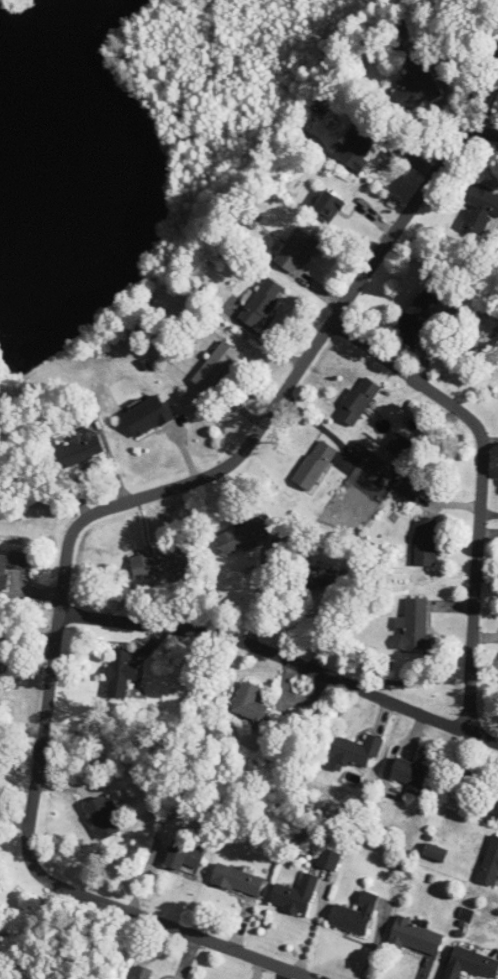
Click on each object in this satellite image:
building: (413, 89)
building: (360, 143)
building: (329, 205)
building: (479, 206)
building: (297, 251)
building: (262, 302)
building: (418, 316)
building: (216, 366)
road: (407, 371)
building: (358, 400)
building: (149, 414)
building: (400, 446)
building: (79, 449)
building: (314, 464)
building: (410, 487)
building: (242, 535)
building: (426, 540)
road: (67, 552)
building: (158, 562)
building: (10, 565)
road: (476, 574)
building: (317, 576)
building: (415, 624)
building: (0, 641)
road: (283, 655)
building: (121, 672)
building: (250, 705)
building: (358, 750)
building: (410, 774)
building: (496, 814)
building: (103, 817)
building: (184, 856)
building: (329, 858)
building: (490, 863)
building: (238, 879)
building: (295, 894)
building: (355, 914)
building: (417, 936)
building: (471, 964)
building: (142, 972)

